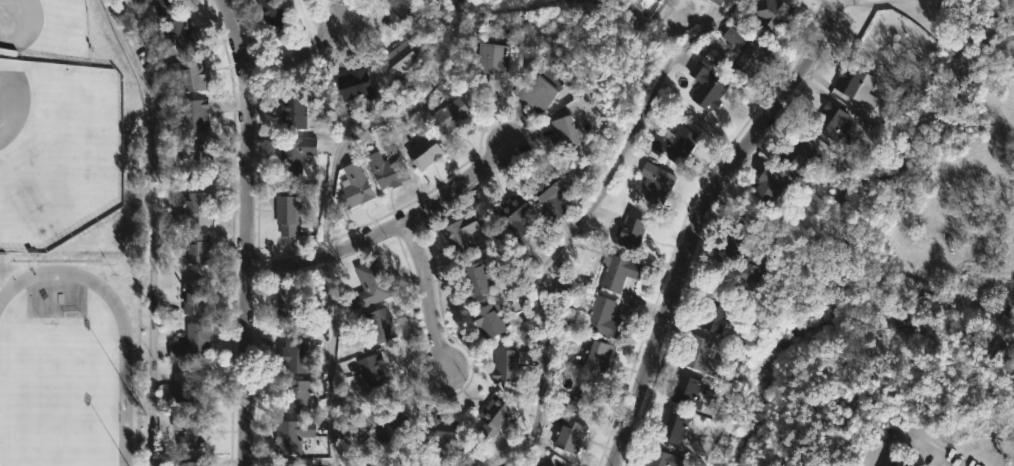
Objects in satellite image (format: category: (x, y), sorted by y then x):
building: (148, 1)
building: (630, 1)
building: (716, 2)
building: (167, 3)
building: (395, 8)
park: (982, 10)
building: (270, 14)
building: (770, 14)
road: (824, 16)
road: (317, 21)
building: (184, 34)
building: (734, 38)
building: (399, 58)
building: (747, 59)
road: (300, 62)
building: (494, 68)
building: (186, 76)
building: (706, 84)
building: (856, 84)
building: (354, 85)
building: (540, 90)
building: (907, 97)
building: (292, 114)
building: (449, 115)
building: (194, 116)
building: (829, 121)
road: (380, 123)
building: (564, 135)
building: (674, 145)
park: (51, 152)
building: (423, 152)
building: (799, 153)
building: (295, 156)
building: (194, 158)
building: (386, 171)
building: (656, 184)
building: (768, 184)
building: (355, 186)
building: (551, 192)
building: (194, 209)
building: (287, 212)
building: (516, 219)
road: (149, 229)
road: (388, 230)
road: (571, 230)
road: (246, 231)
building: (461, 233)
building: (631, 233)
road: (693, 238)
building: (197, 247)
building: (731, 248)
building: (751, 268)
building: (618, 271)
building: (475, 278)
building: (370, 283)
building: (559, 289)
road: (425, 295)
building: (194, 296)
building: (291, 311)
building: (712, 314)
building: (602, 316)
building: (489, 319)
building: (380, 324)
building: (191, 343)
building: (998, 350)
building: (295, 354)
building: (595, 354)
building: (702, 356)
park: (68, 361)
road: (329, 361)
building: (506, 364)
building: (372, 370)
building: (185, 386)
building: (686, 391)
park: (52, 397)
building: (579, 397)
building: (299, 398)
building: (494, 415)
building: (385, 421)
building: (672, 426)
building: (188, 430)
building: (440, 433)
building: (289, 434)
building: (569, 434)
road: (925, 455)
building: (662, 458)
building: (544, 462)
building: (898, 463)
building: (188, 464)
building: (288, 464)

